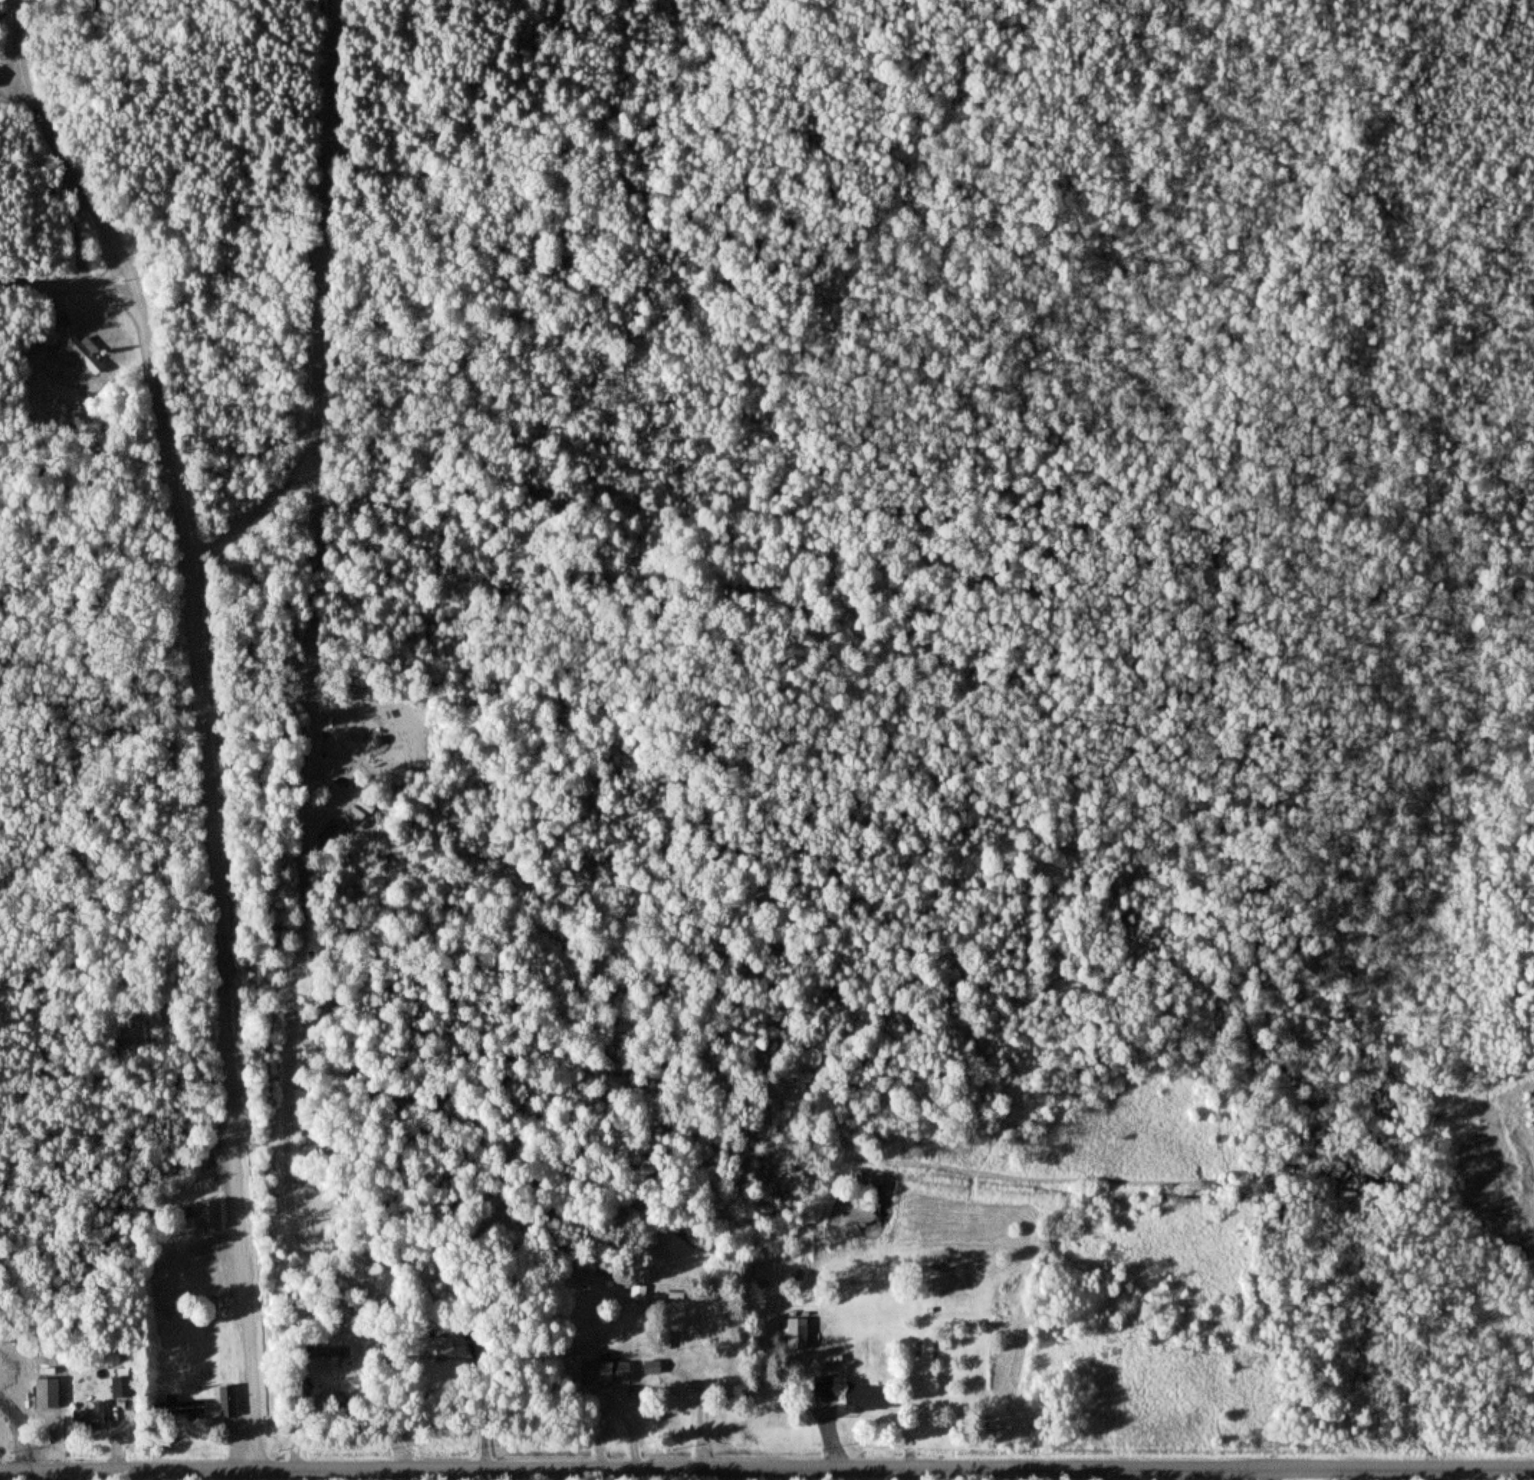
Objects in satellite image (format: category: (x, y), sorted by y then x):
road: (57, 161)
road: (107, 273)
road: (70, 286)
building: (82, 354)
building: (347, 728)
road: (211, 889)
building: (209, 1215)
building: (796, 1340)
building: (436, 1349)
building: (605, 1373)
building: (120, 1385)
building: (822, 1390)
building: (45, 1394)
building: (865, 1399)
building: (225, 1402)
building: (181, 1407)
building: (5, 1417)
building: (89, 1419)
road: (766, 1470)
road: (57, 1475)

